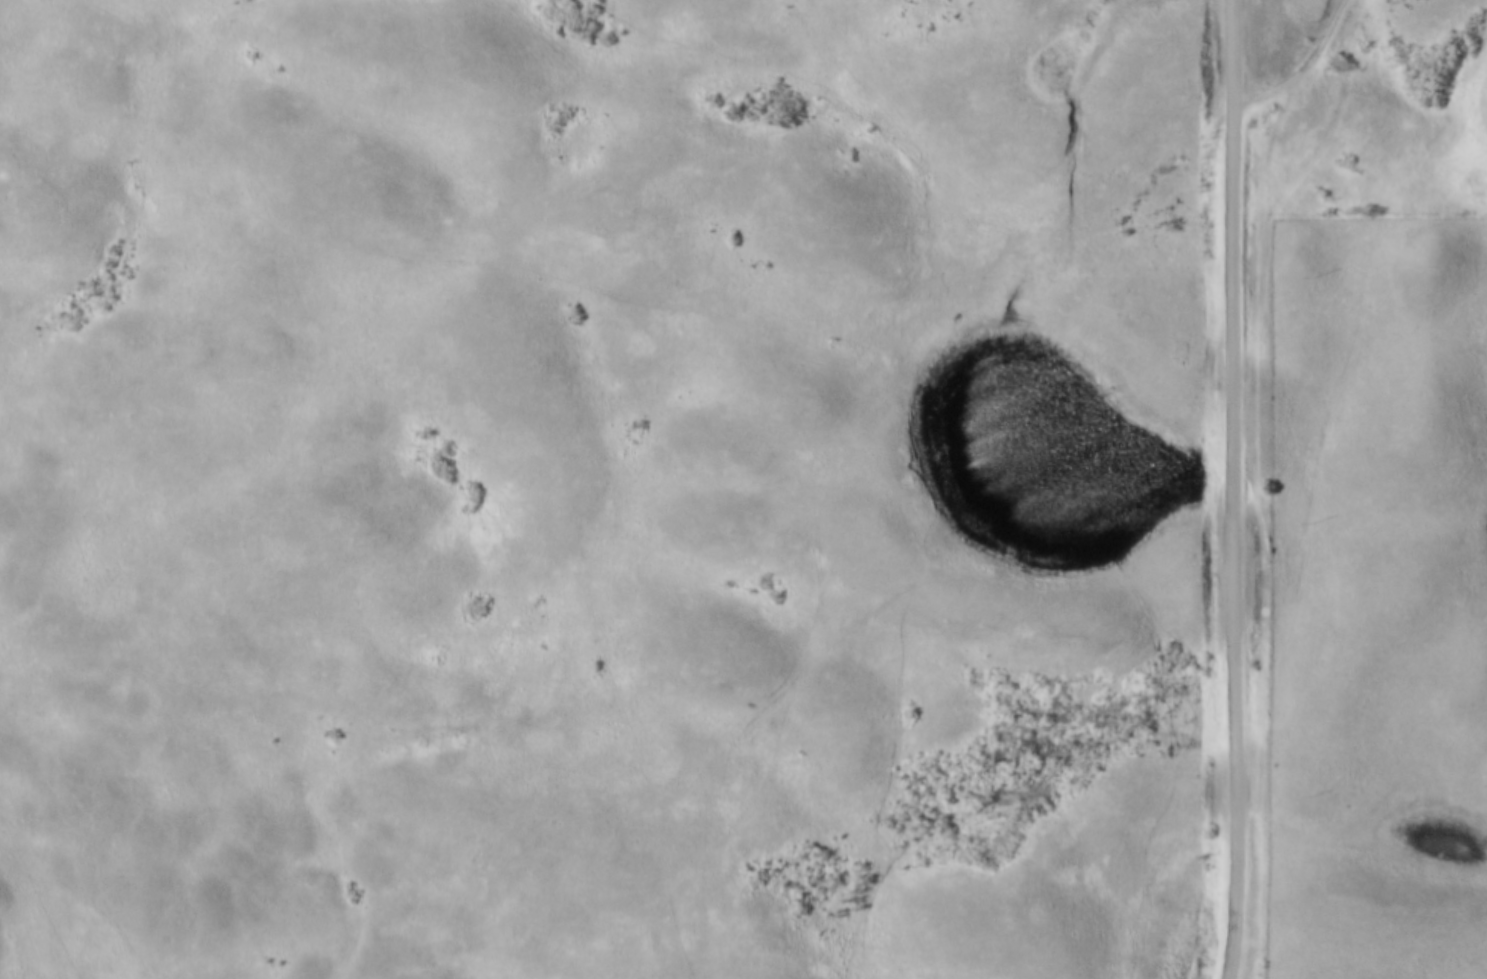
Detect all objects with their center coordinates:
road: (1306, 64)
road: (1236, 489)

